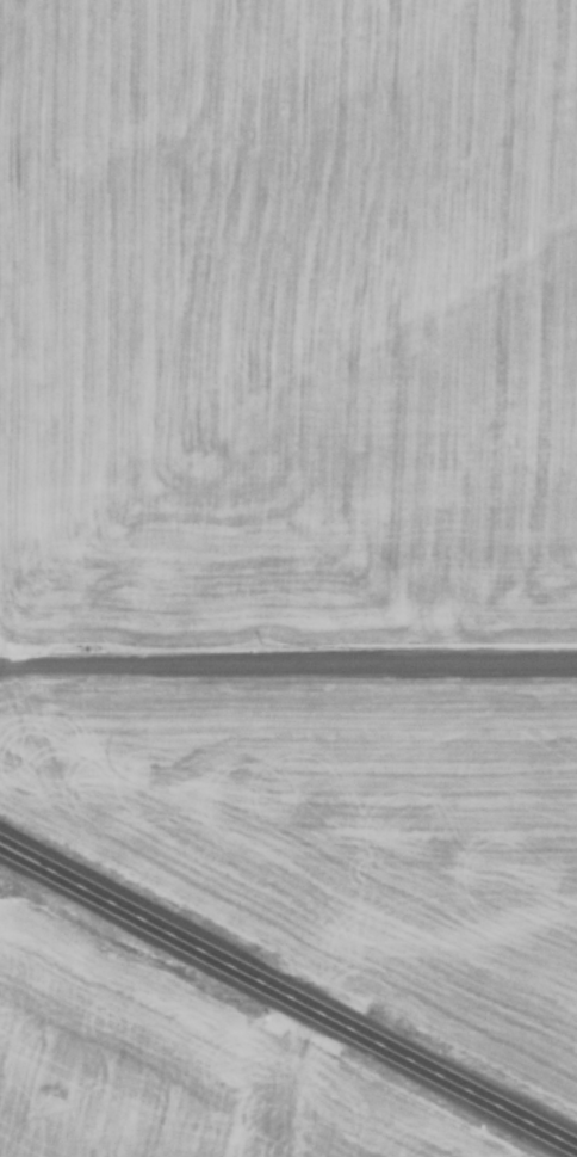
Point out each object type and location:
road: (288, 667)
road: (287, 987)

